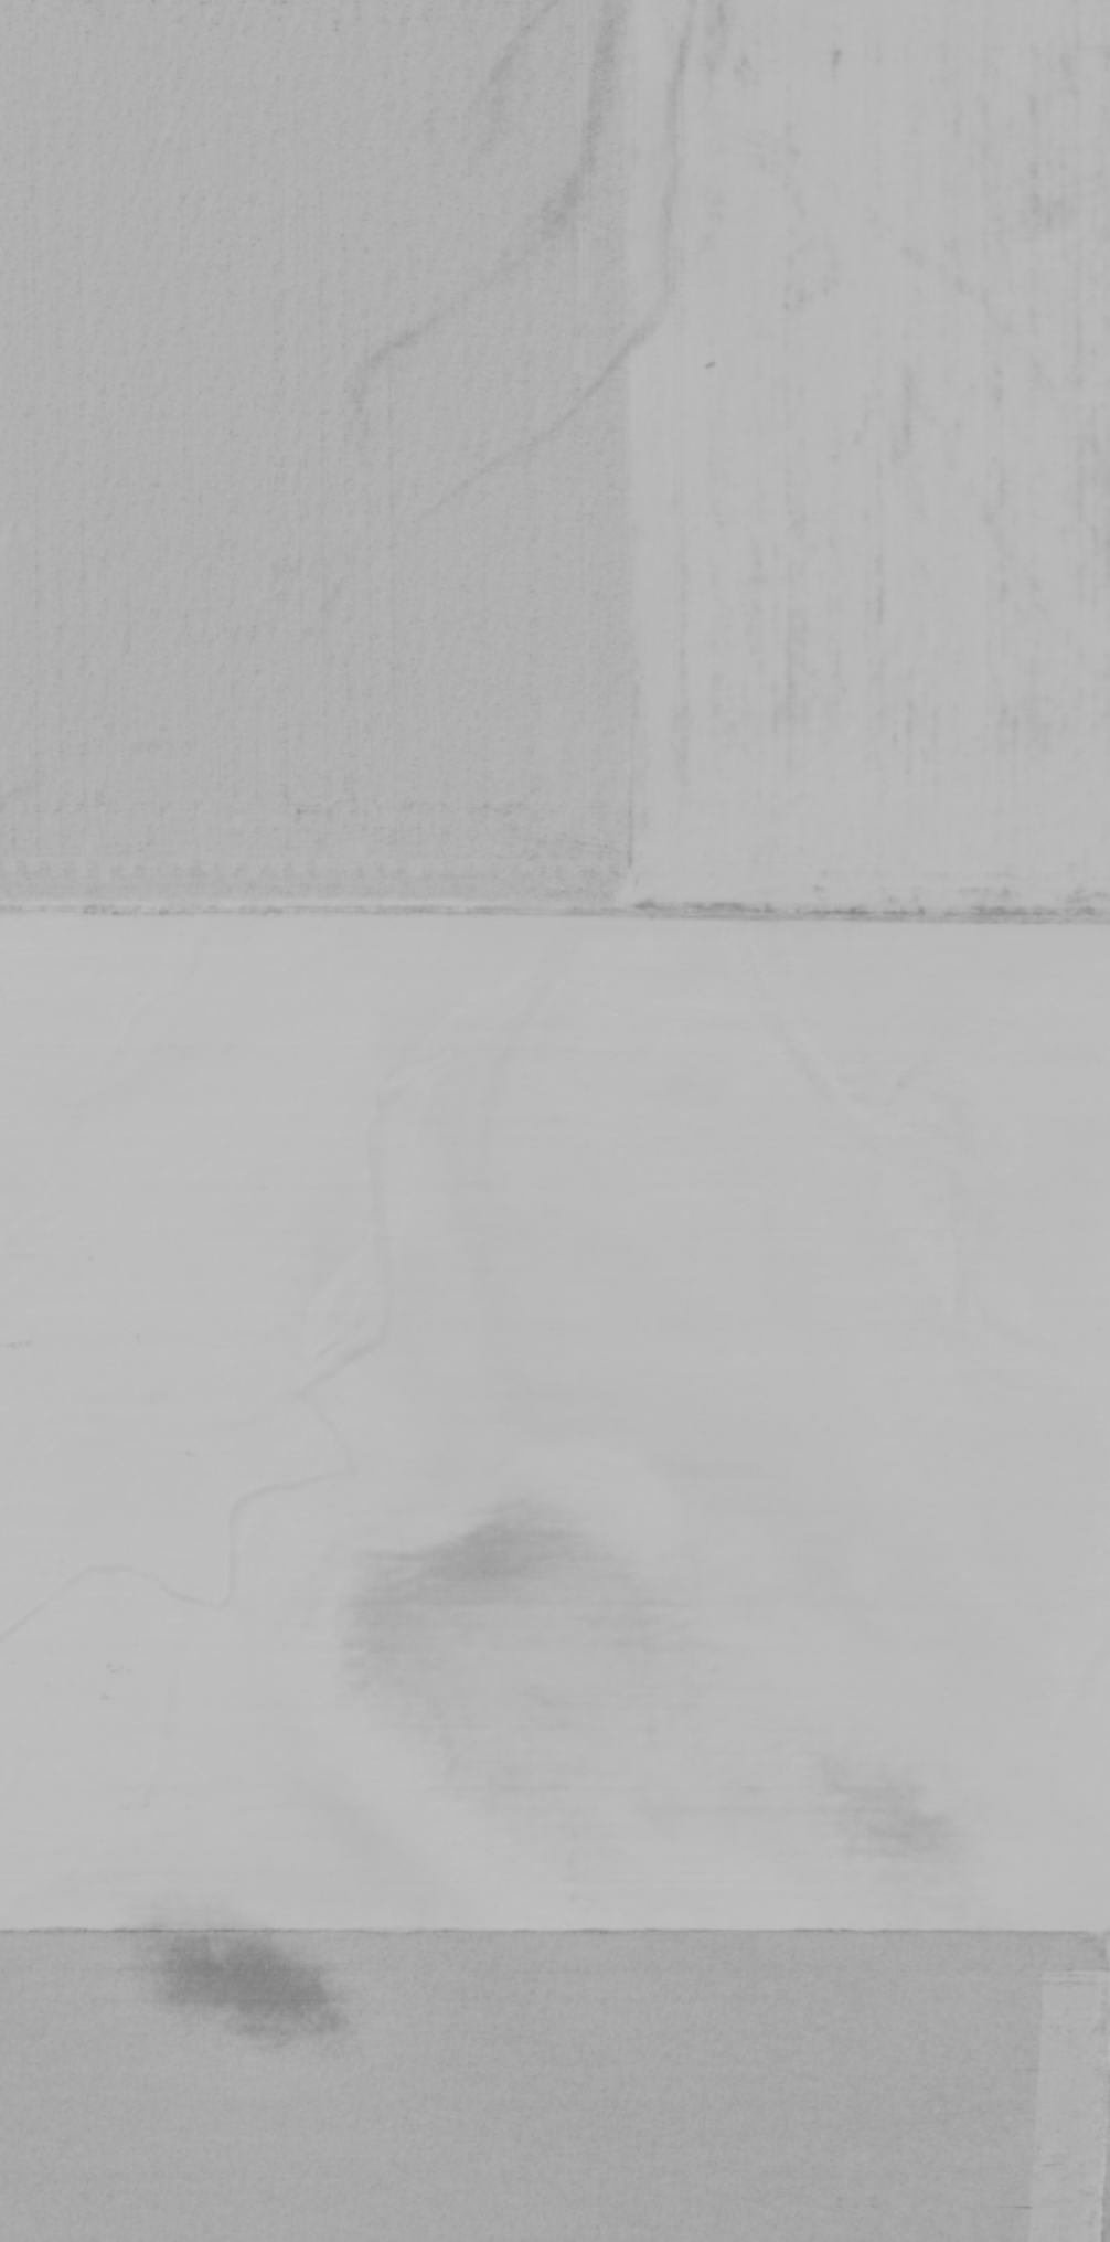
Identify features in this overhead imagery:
road: (555, 924)

